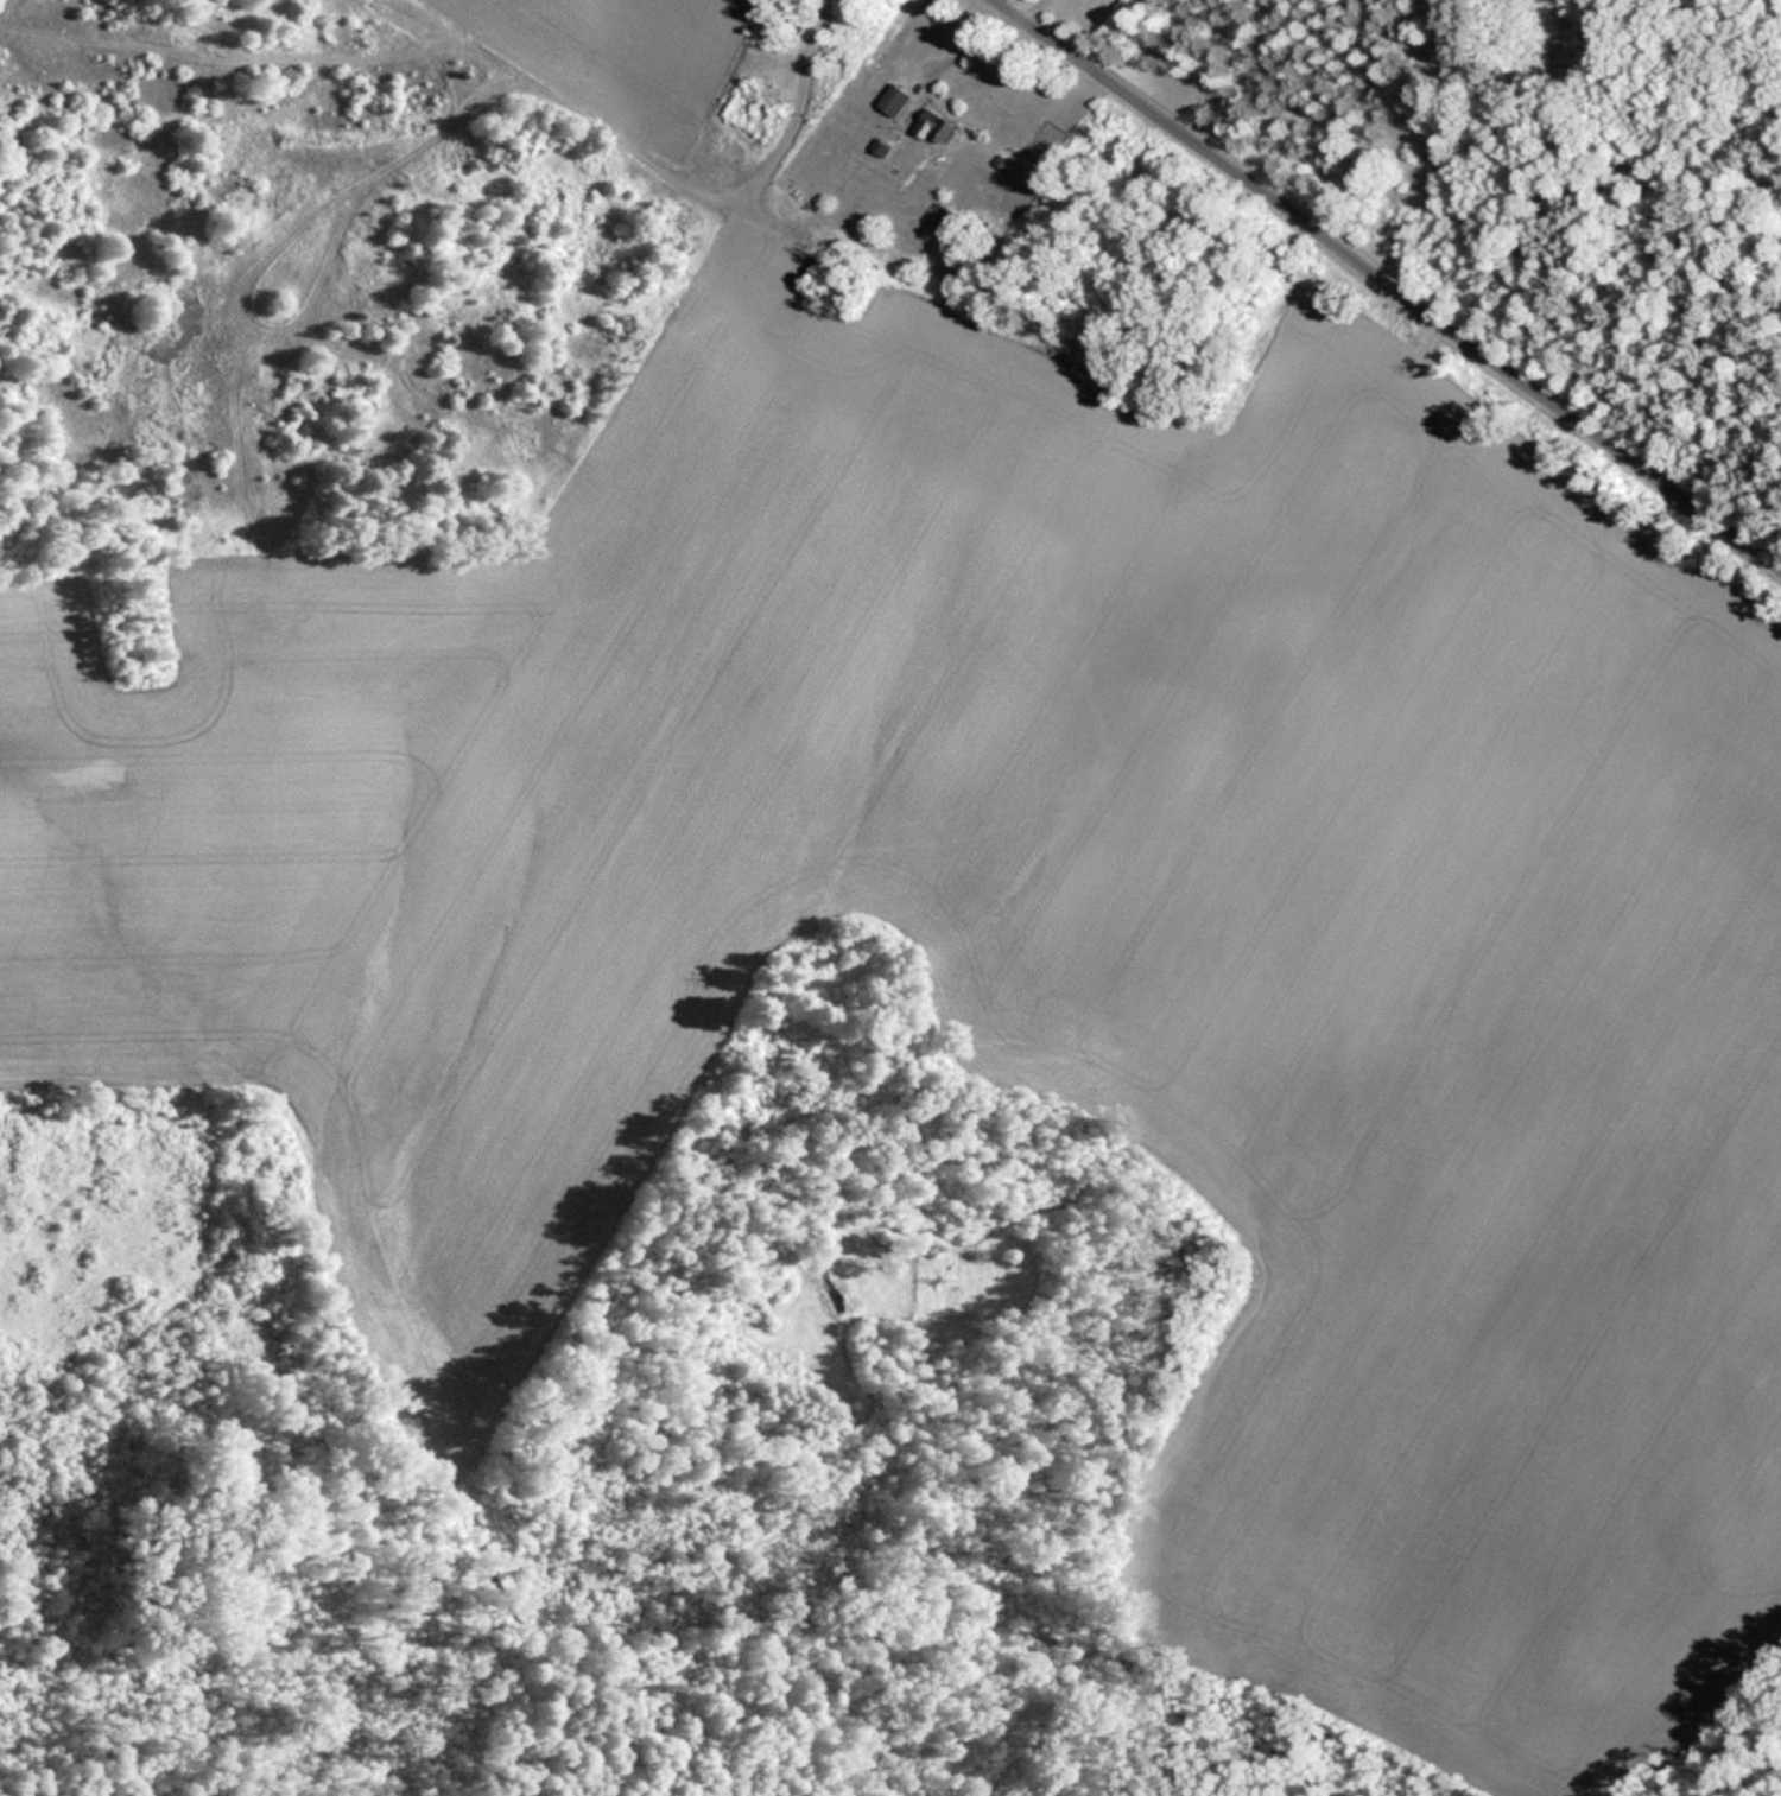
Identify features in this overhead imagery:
building: (898, 100)
building: (937, 125)
road: (1383, 285)

